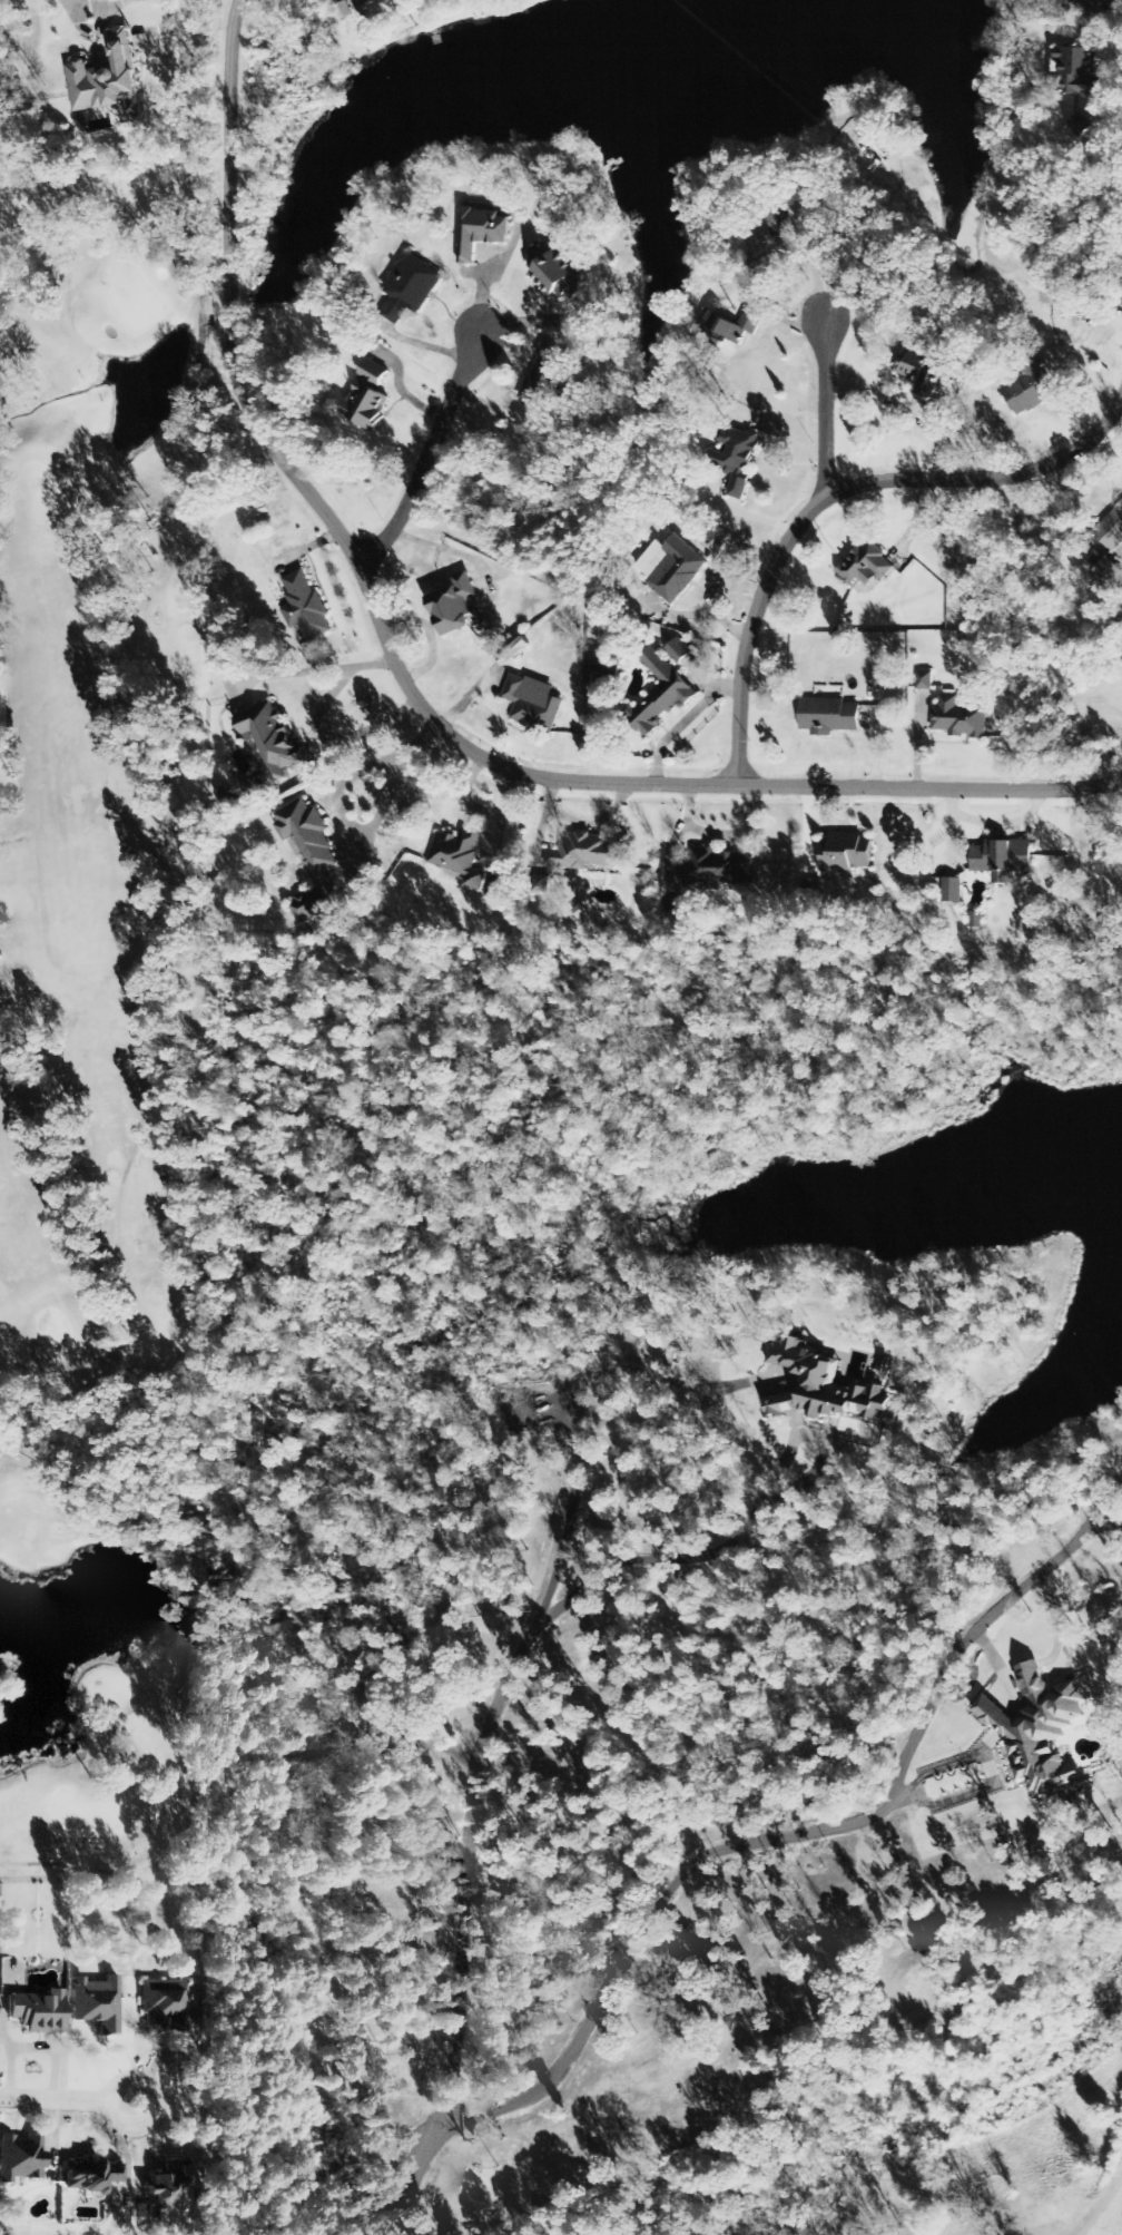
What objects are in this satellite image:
building: (366, 1)
building: (1076, 69)
building: (108, 81)
building: (480, 232)
building: (553, 272)
building: (411, 288)
building: (924, 370)
building: (543, 375)
building: (1028, 389)
building: (366, 398)
road: (826, 409)
road: (430, 455)
building: (735, 457)
road: (833, 496)
building: (1110, 529)
building: (866, 566)
building: (668, 567)
building: (1108, 575)
building: (305, 605)
building: (452, 606)
building: (678, 650)
building: (513, 651)
building: (607, 667)
building: (924, 680)
road: (411, 693)
building: (660, 694)
building: (531, 703)
building: (828, 716)
building: (958, 718)
building: (270, 737)
building: (307, 835)
building: (585, 853)
building: (845, 853)
building: (460, 856)
building: (1002, 859)
building: (717, 869)
building: (540, 884)
building: (493, 890)
building: (952, 890)
building: (309, 905)
building: (977, 910)
building: (976, 920)
park: (108, 1017)
building: (820, 1385)
road: (783, 1399)
road: (578, 1405)
road: (690, 1553)
building: (1036, 1728)
building: (1074, 1774)
road: (720, 1851)
road: (460, 1872)
building: (164, 2003)
building: (36, 2012)
road: (65, 2100)
building: (19, 2158)
building: (89, 2176)
building: (167, 2194)

